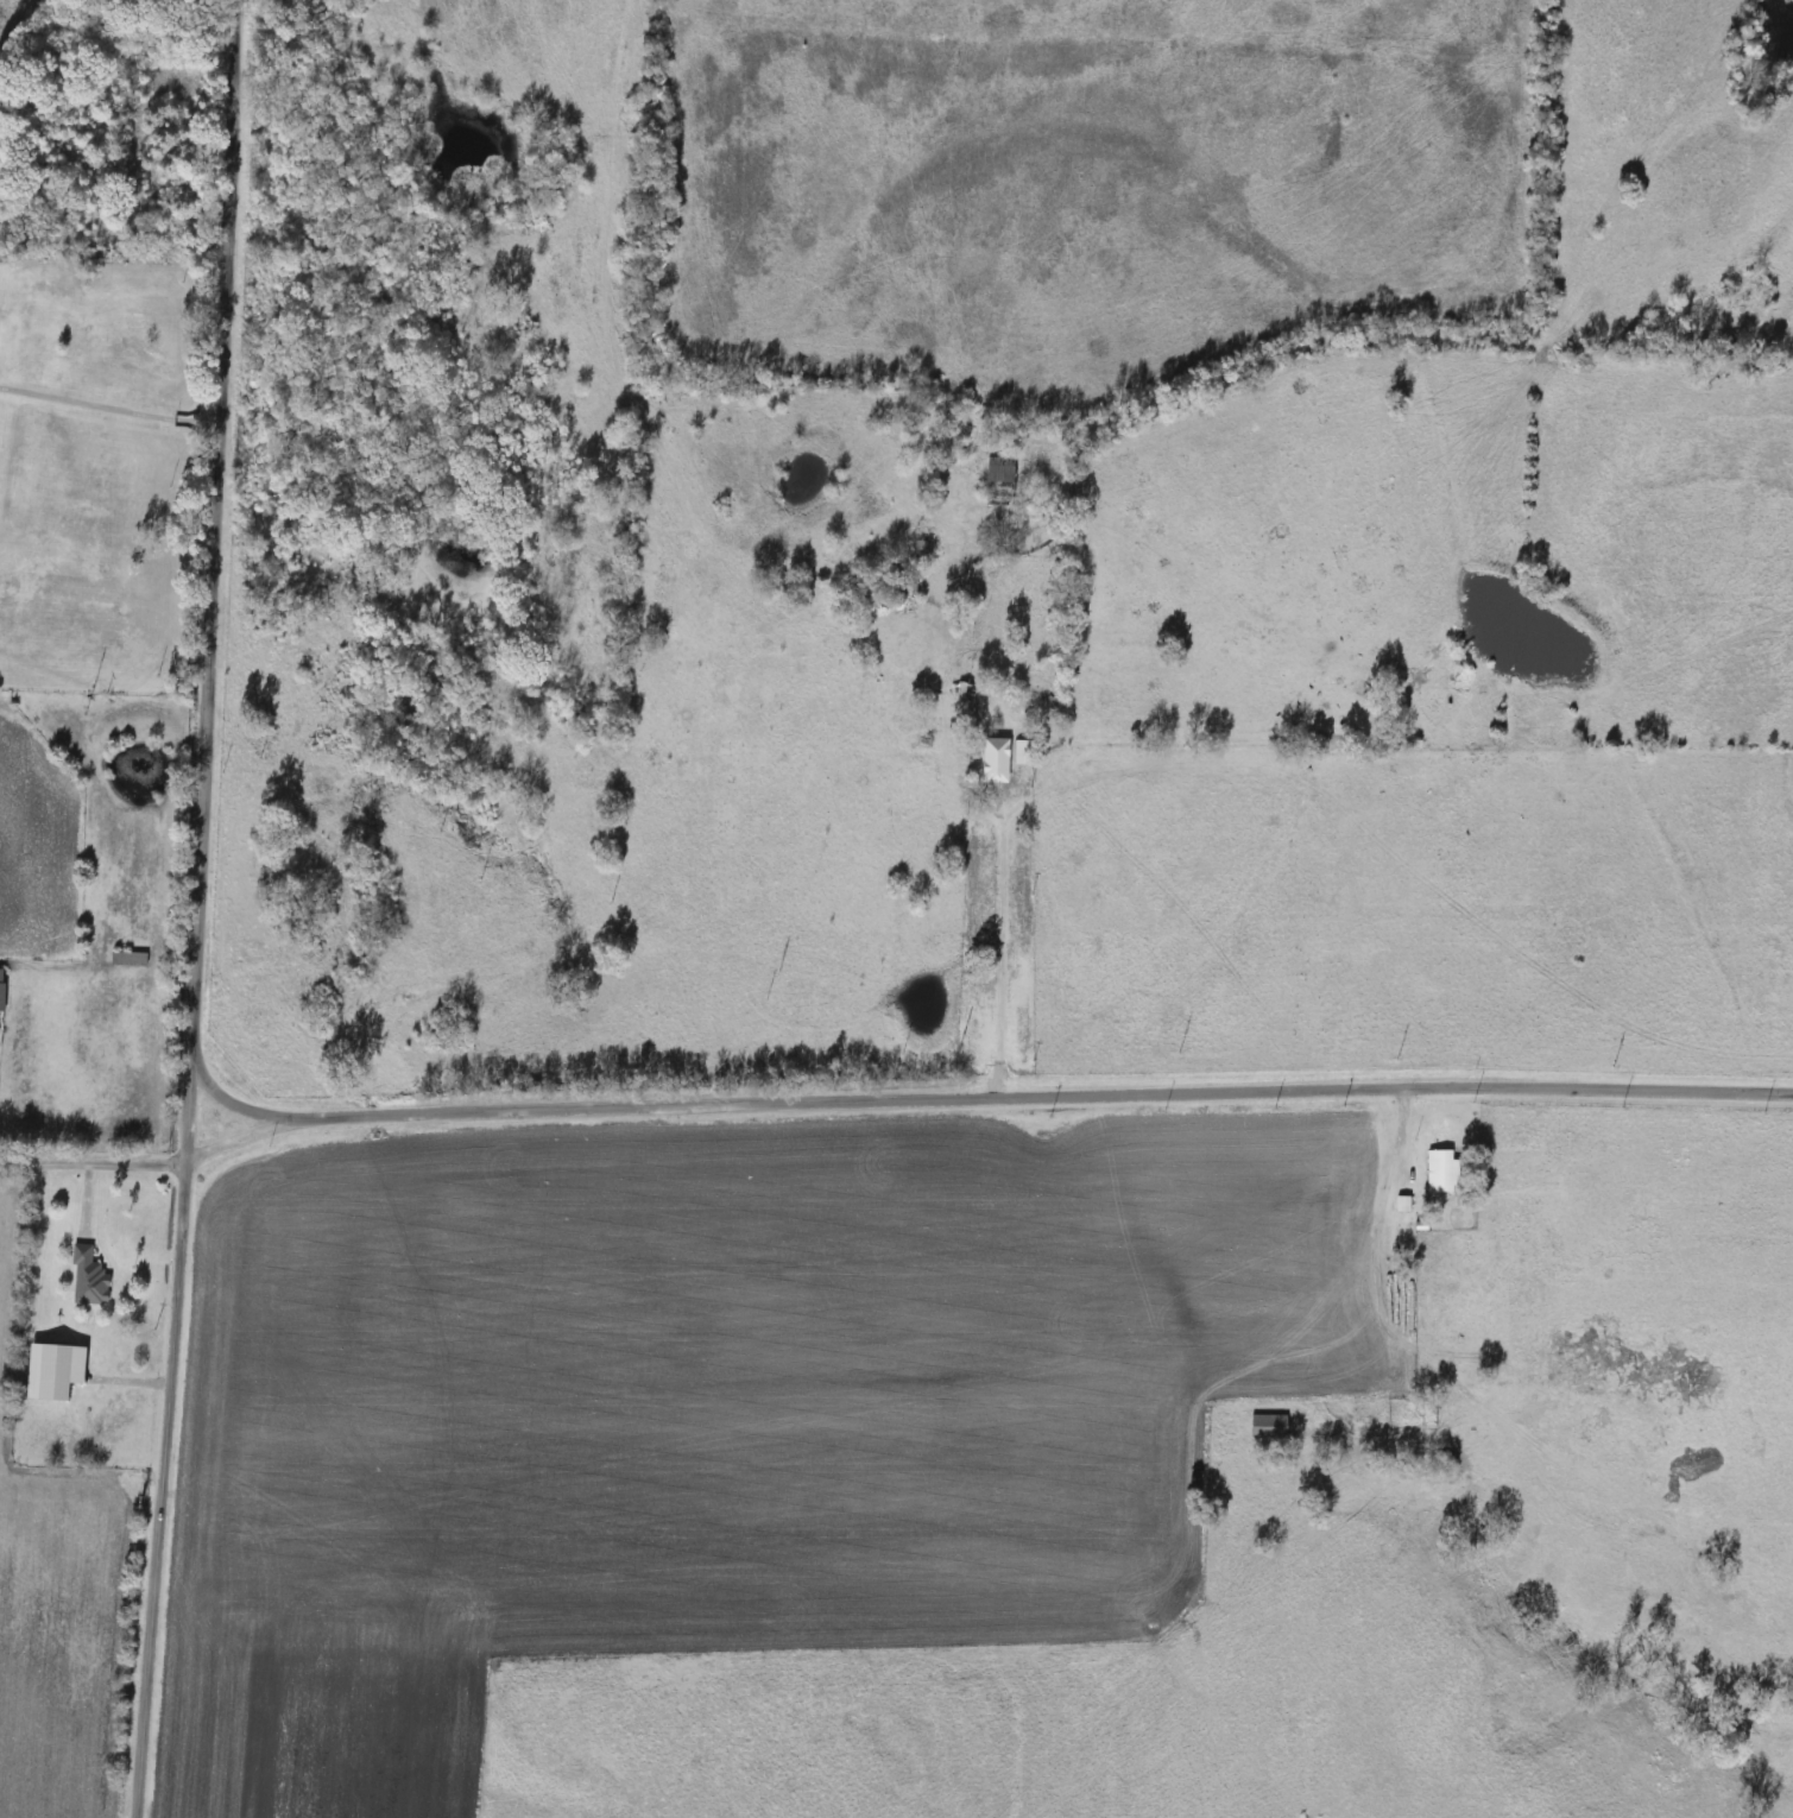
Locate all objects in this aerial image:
road: (107, 406)
building: (1003, 471)
building: (997, 759)
road: (191, 909)
road: (1005, 941)
building: (128, 958)
building: (2, 990)
road: (891, 1098)
road: (234, 1107)
road: (1389, 1140)
building: (89, 1279)
building: (1270, 1427)

